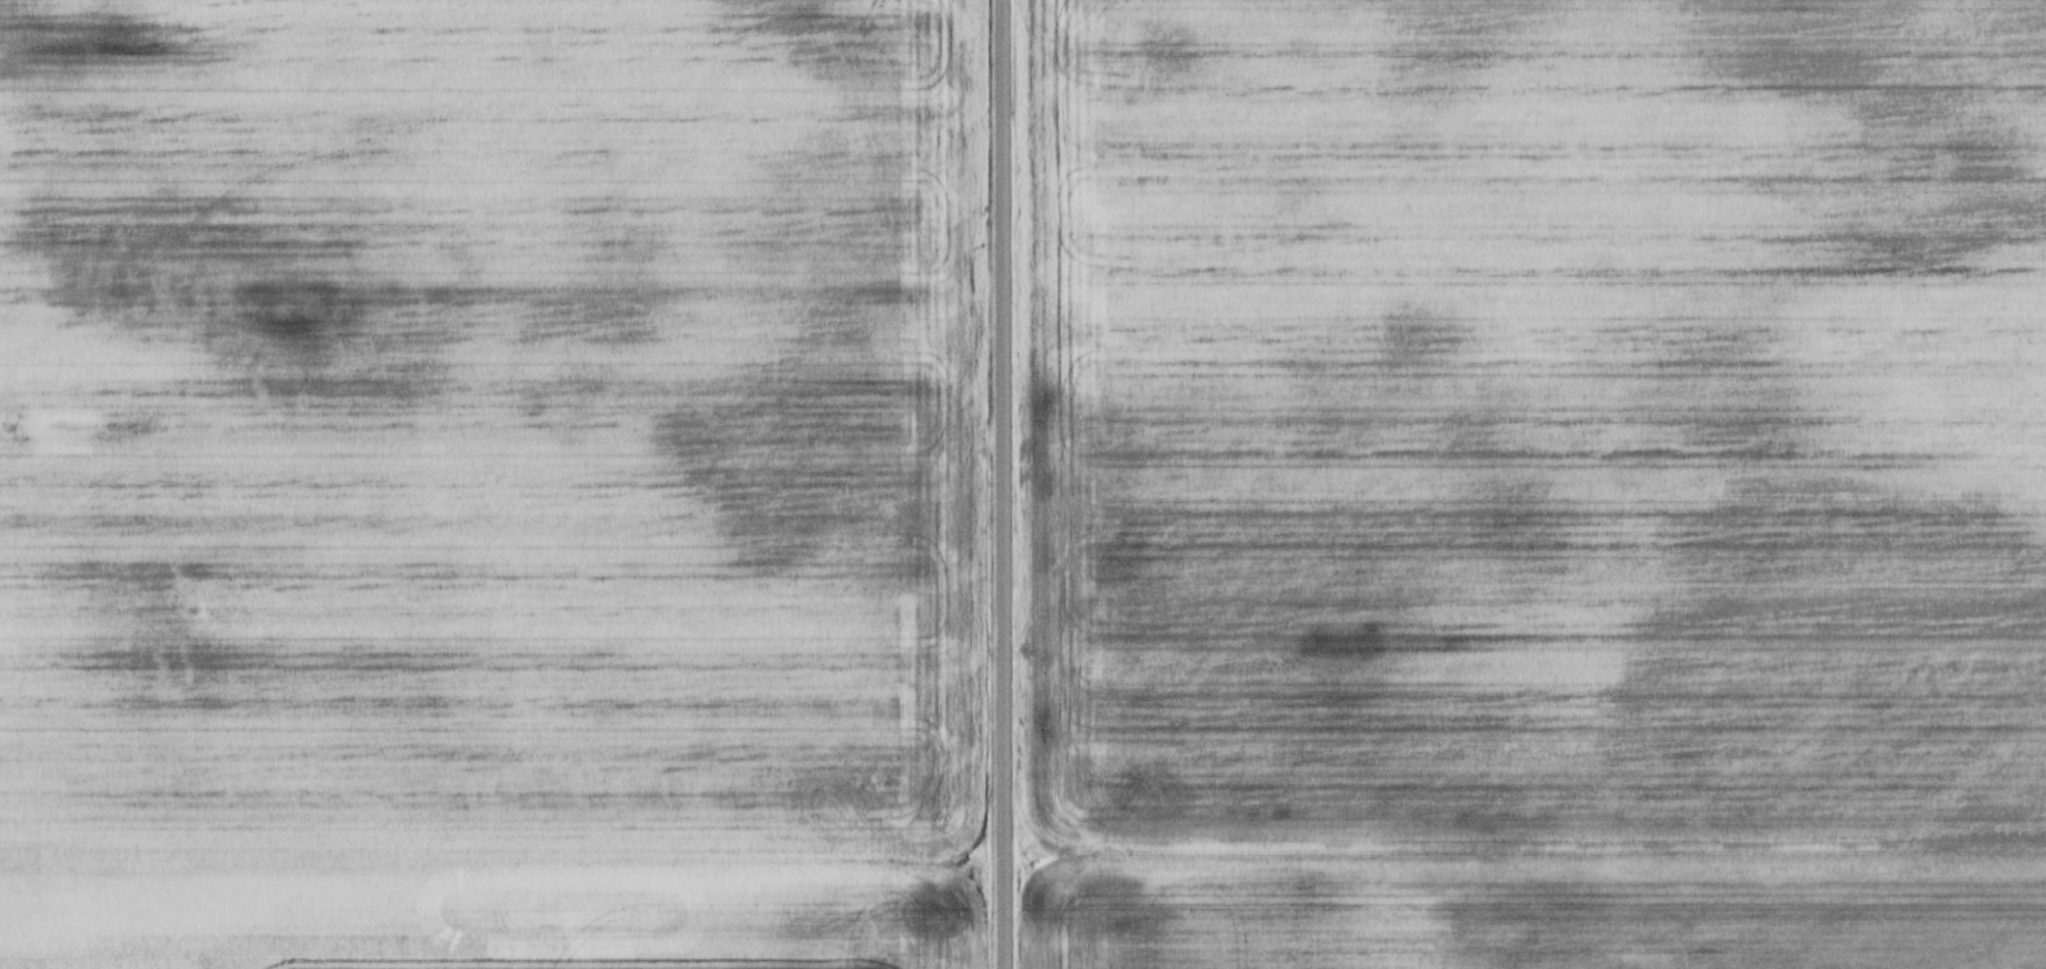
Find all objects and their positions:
road: (1001, 484)

